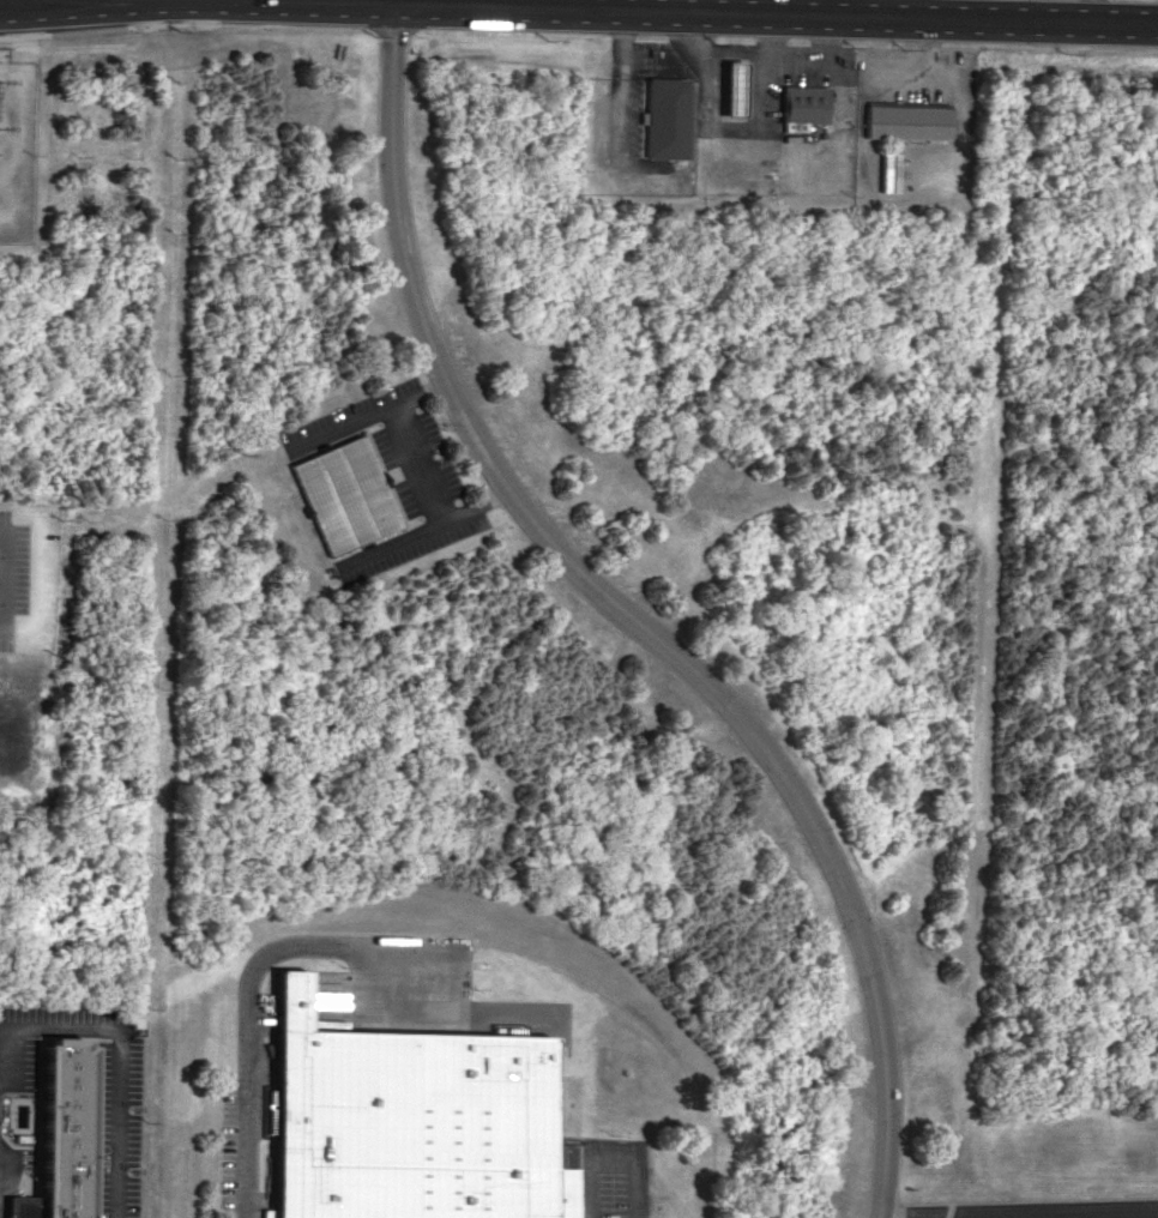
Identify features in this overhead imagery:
road: (320, 5)
road: (133, 6)
road: (683, 7)
road: (830, 10)
road: (195, 11)
road: (904, 11)
road: (1091, 13)
road: (774, 17)
building: (730, 88)
gas station: (730, 88)
building: (802, 103)
building: (665, 117)
building: (907, 121)
power substation: (17, 140)
road: (744, 164)
building: (888, 171)
road: (415, 469)
building: (340, 499)
road: (633, 616)
road: (117, 1041)
road: (251, 1044)
building: (411, 1124)
building: (60, 1134)
road: (609, 1157)
road: (1017, 1213)

